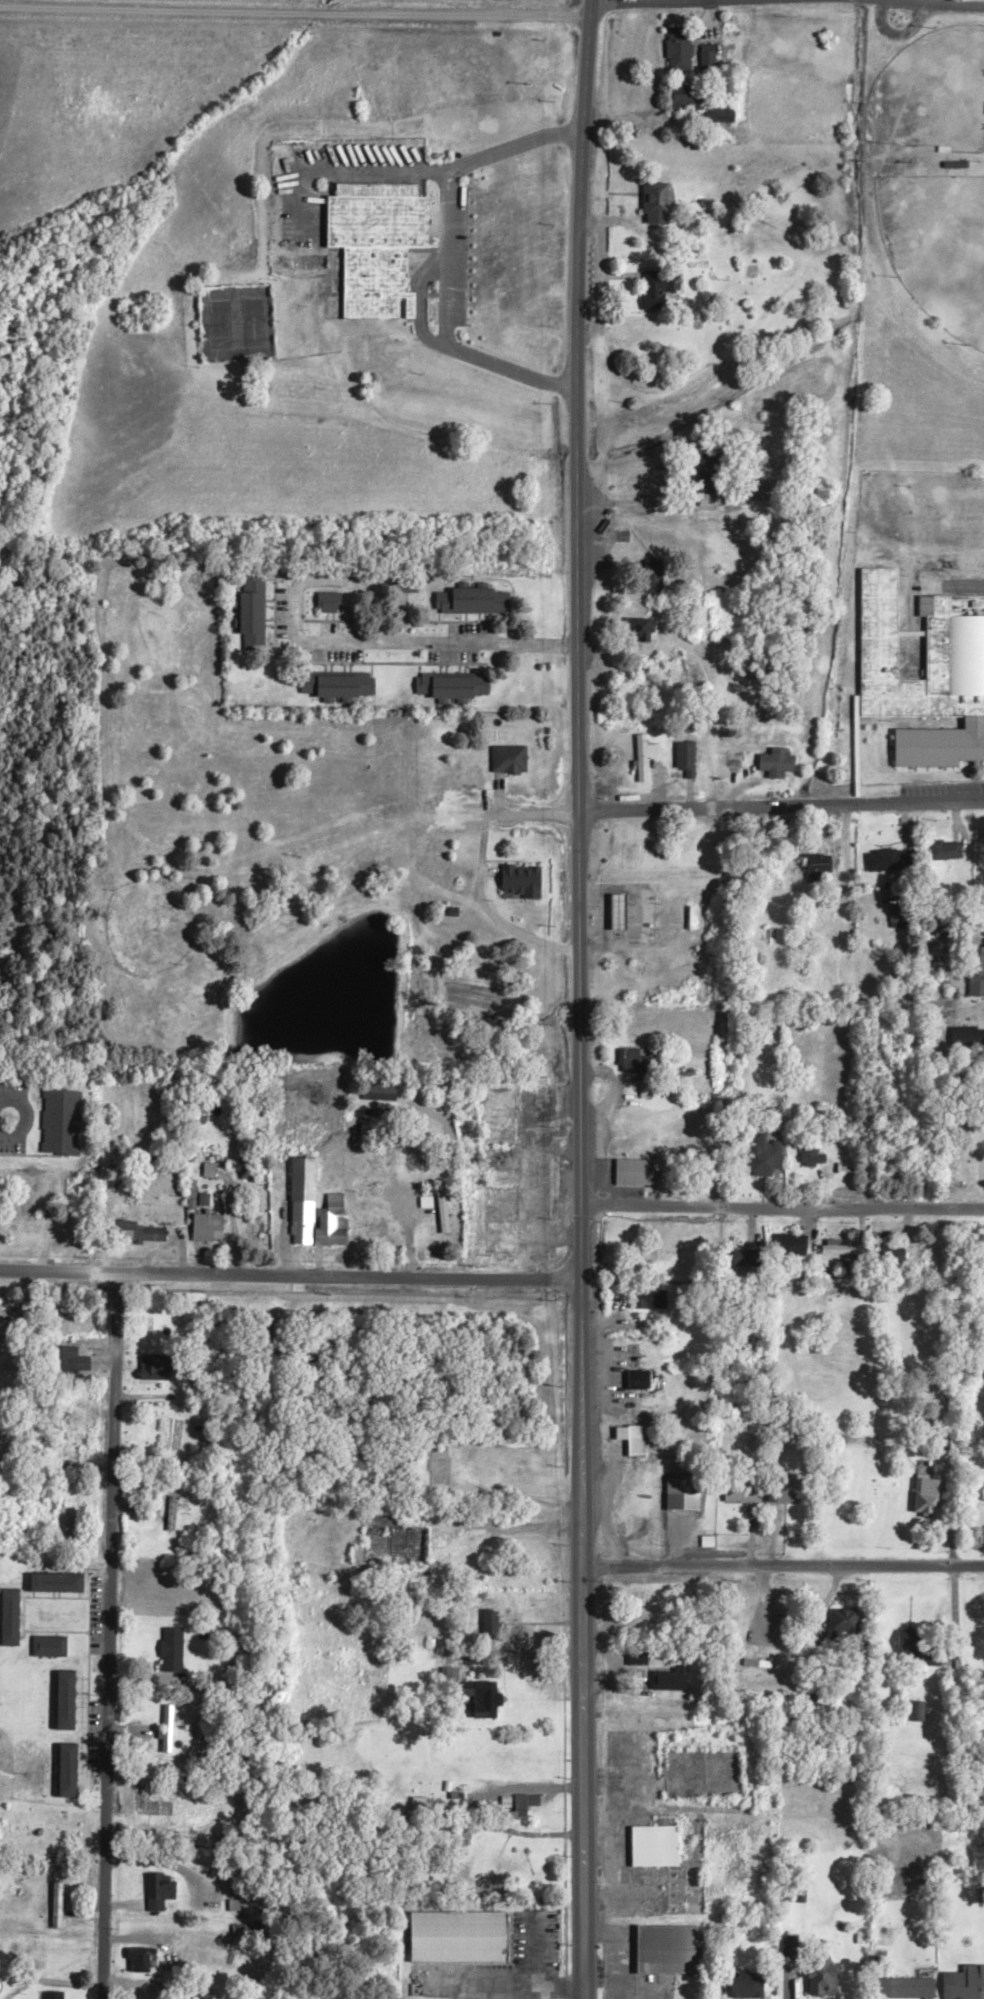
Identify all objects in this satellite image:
road: (787, 0)
road: (336, 3)
building: (681, 52)
building: (709, 64)
park: (932, 97)
building: (687, 99)
building: (659, 206)
building: (377, 246)
park: (938, 247)
road: (445, 257)
building: (659, 292)
park: (253, 324)
park: (217, 326)
building: (635, 330)
building: (710, 478)
building: (769, 493)
building: (654, 579)
building: (407, 585)
building: (475, 603)
building: (331, 605)
building: (254, 616)
building: (956, 650)
building: (338, 687)
building: (454, 688)
building: (645, 760)
building: (510, 762)
building: (686, 762)
building: (732, 765)
building: (779, 765)
road: (781, 809)
building: (947, 853)
building: (889, 862)
building: (820, 869)
building: (525, 883)
building: (622, 914)
road: (489, 915)
building: (901, 920)
building: (977, 972)
road: (579, 999)
building: (968, 1040)
building: (633, 1064)
building: (383, 1094)
road: (4, 1117)
building: (62, 1124)
building: (768, 1158)
building: (814, 1159)
building: (368, 1171)
building: (251, 1172)
building: (211, 1173)
building: (636, 1175)
building: (507, 1183)
road: (421, 1188)
building: (204, 1202)
building: (307, 1203)
road: (782, 1212)
building: (446, 1216)
building: (338, 1223)
building: (210, 1229)
building: (372, 1230)
building: (143, 1235)
building: (507, 1241)
building: (793, 1248)
building: (844, 1253)
building: (898, 1258)
road: (289, 1279)
building: (651, 1302)
building: (72, 1363)
building: (165, 1368)
building: (642, 1382)
building: (636, 1442)
building: (71, 1448)
building: (440, 1467)
building: (786, 1495)
building: (685, 1497)
building: (931, 1497)
building: (173, 1516)
building: (67, 1524)
building: (389, 1540)
building: (359, 1557)
road: (782, 1570)
building: (59, 1585)
building: (12, 1621)
building: (847, 1624)
building: (491, 1628)
building: (977, 1629)
road: (109, 1637)
building: (913, 1645)
building: (51, 1649)
building: (174, 1652)
building: (673, 1682)
building: (68, 1703)
building: (484, 1703)
building: (919, 1714)
building: (169, 1732)
building: (71, 1774)
building: (148, 1804)
building: (522, 1808)
building: (656, 1849)
building: (161, 1893)
building: (58, 1908)
building: (240, 1908)
building: (174, 1936)
building: (244, 1937)
building: (792, 1949)
building: (672, 1953)
building: (144, 1963)
building: (522, 1964)
building: (824, 1974)
building: (969, 1984)
building: (748, 1987)
building: (906, 1990)
building: (10, 1992)
building: (55, 1996)
building: (203, 1997)

